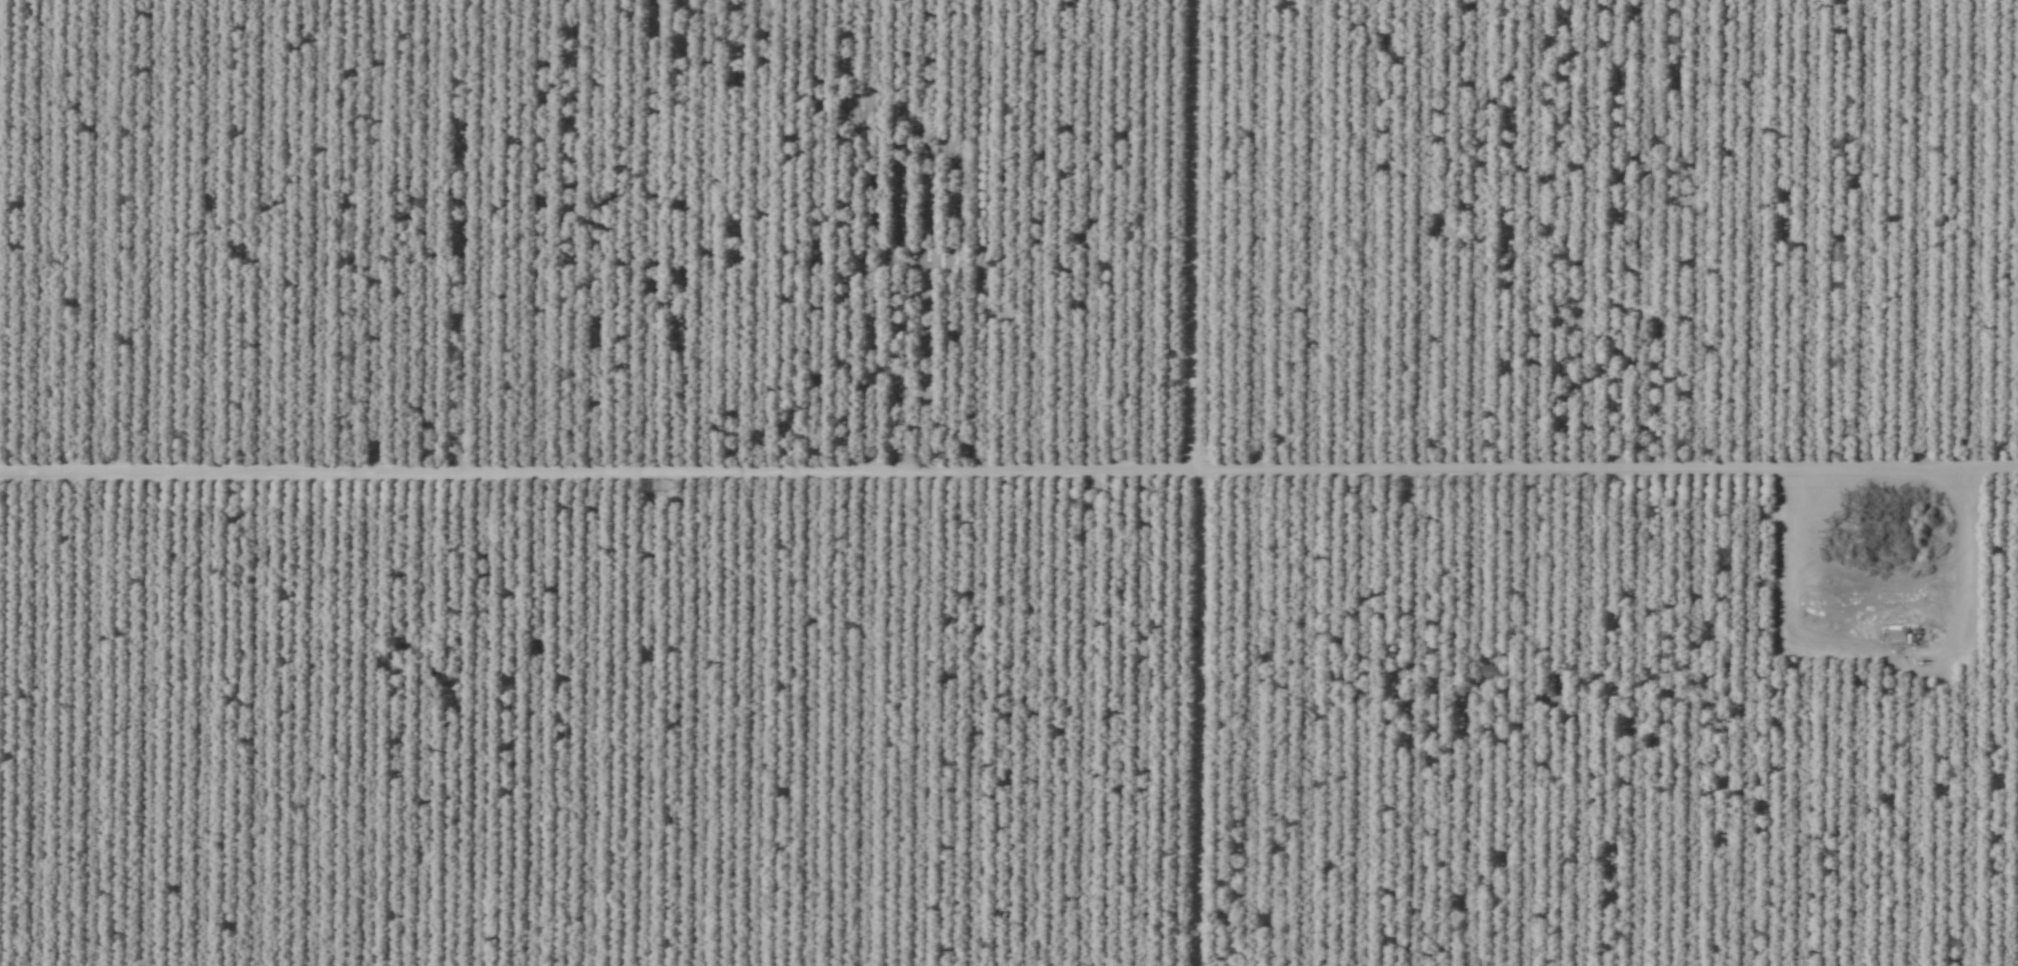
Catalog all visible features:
building: (1906, 541)

